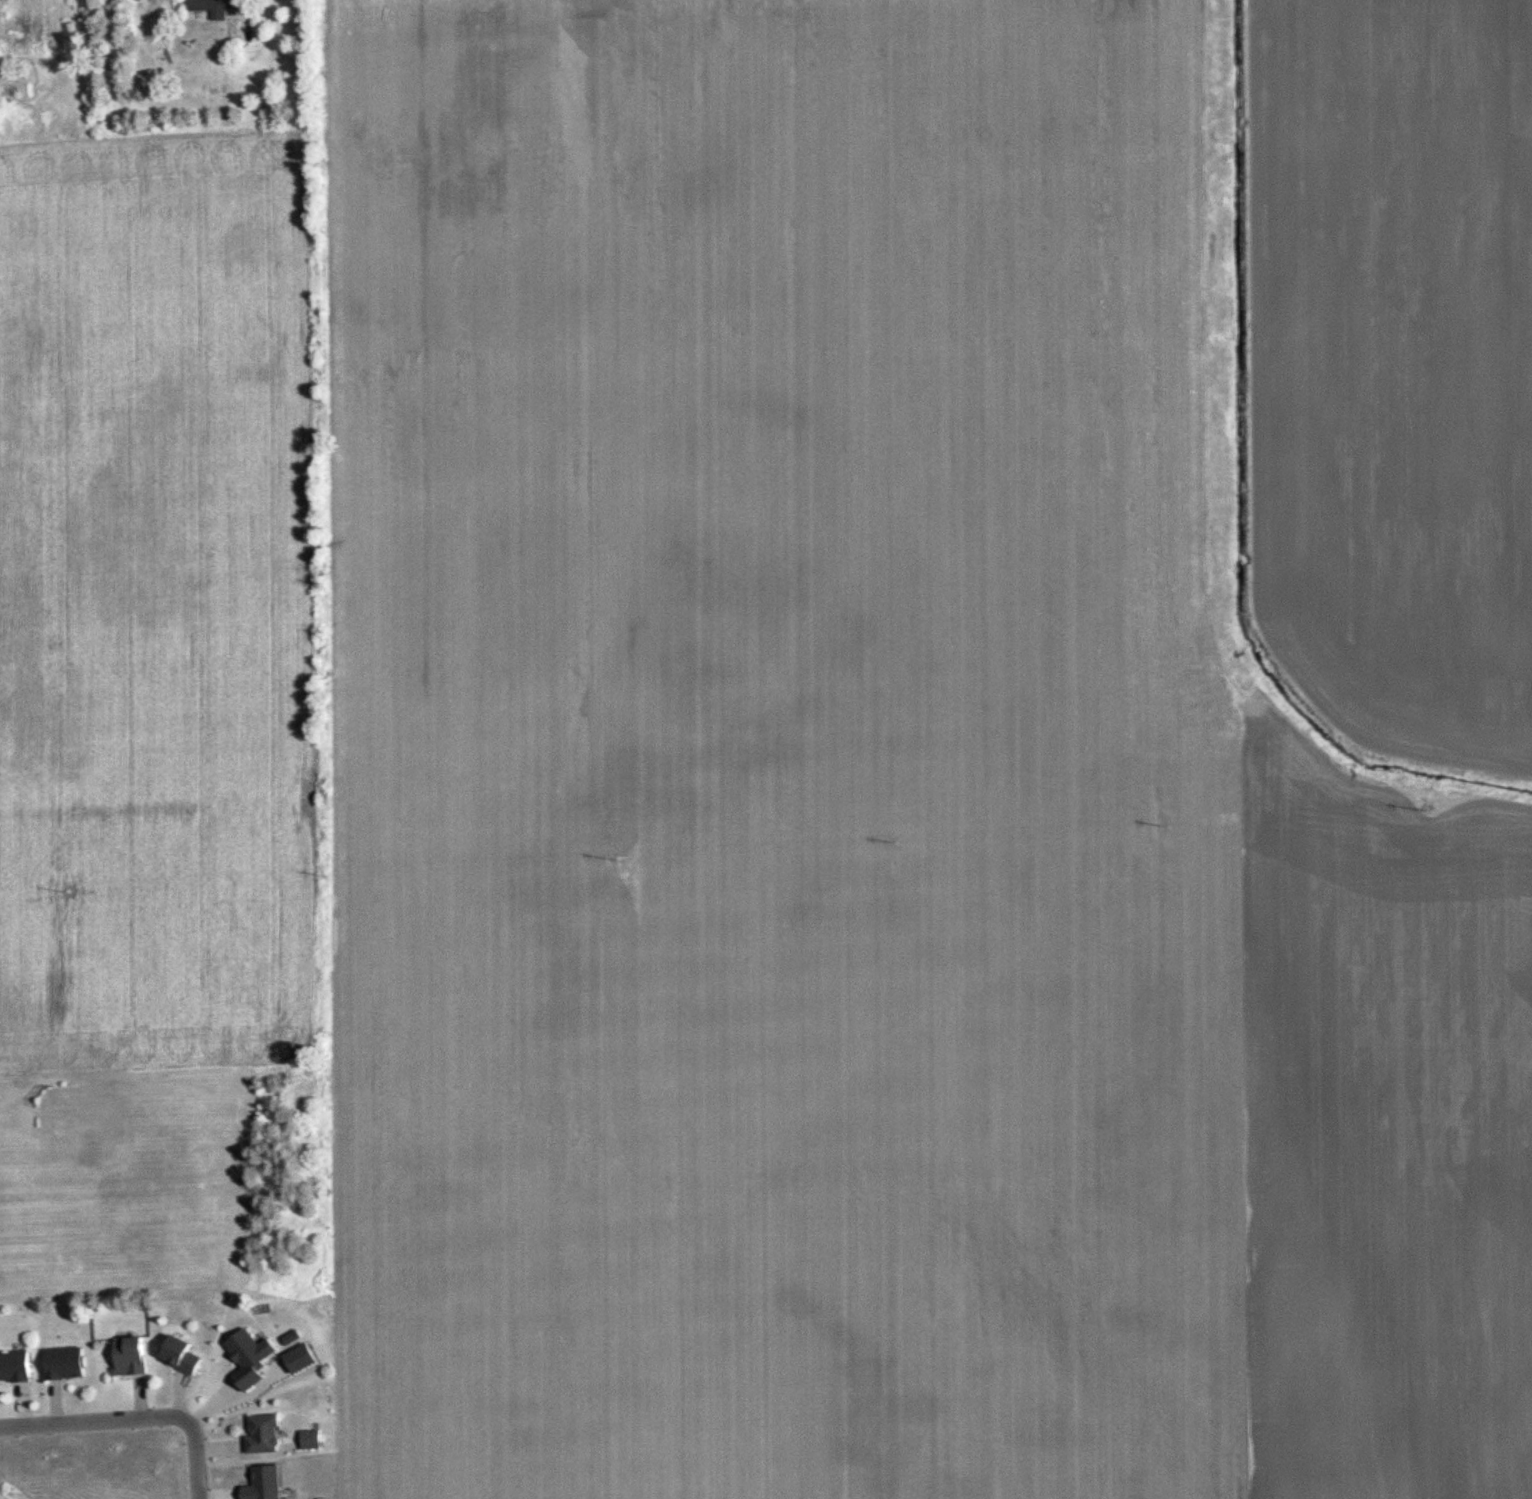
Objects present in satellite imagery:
building: (217, 7)
building: (183, 1353)
building: (133, 1355)
building: (67, 1362)
building: (16, 1364)
road: (95, 1421)
building: (266, 1432)
building: (314, 1438)
road: (197, 1460)

